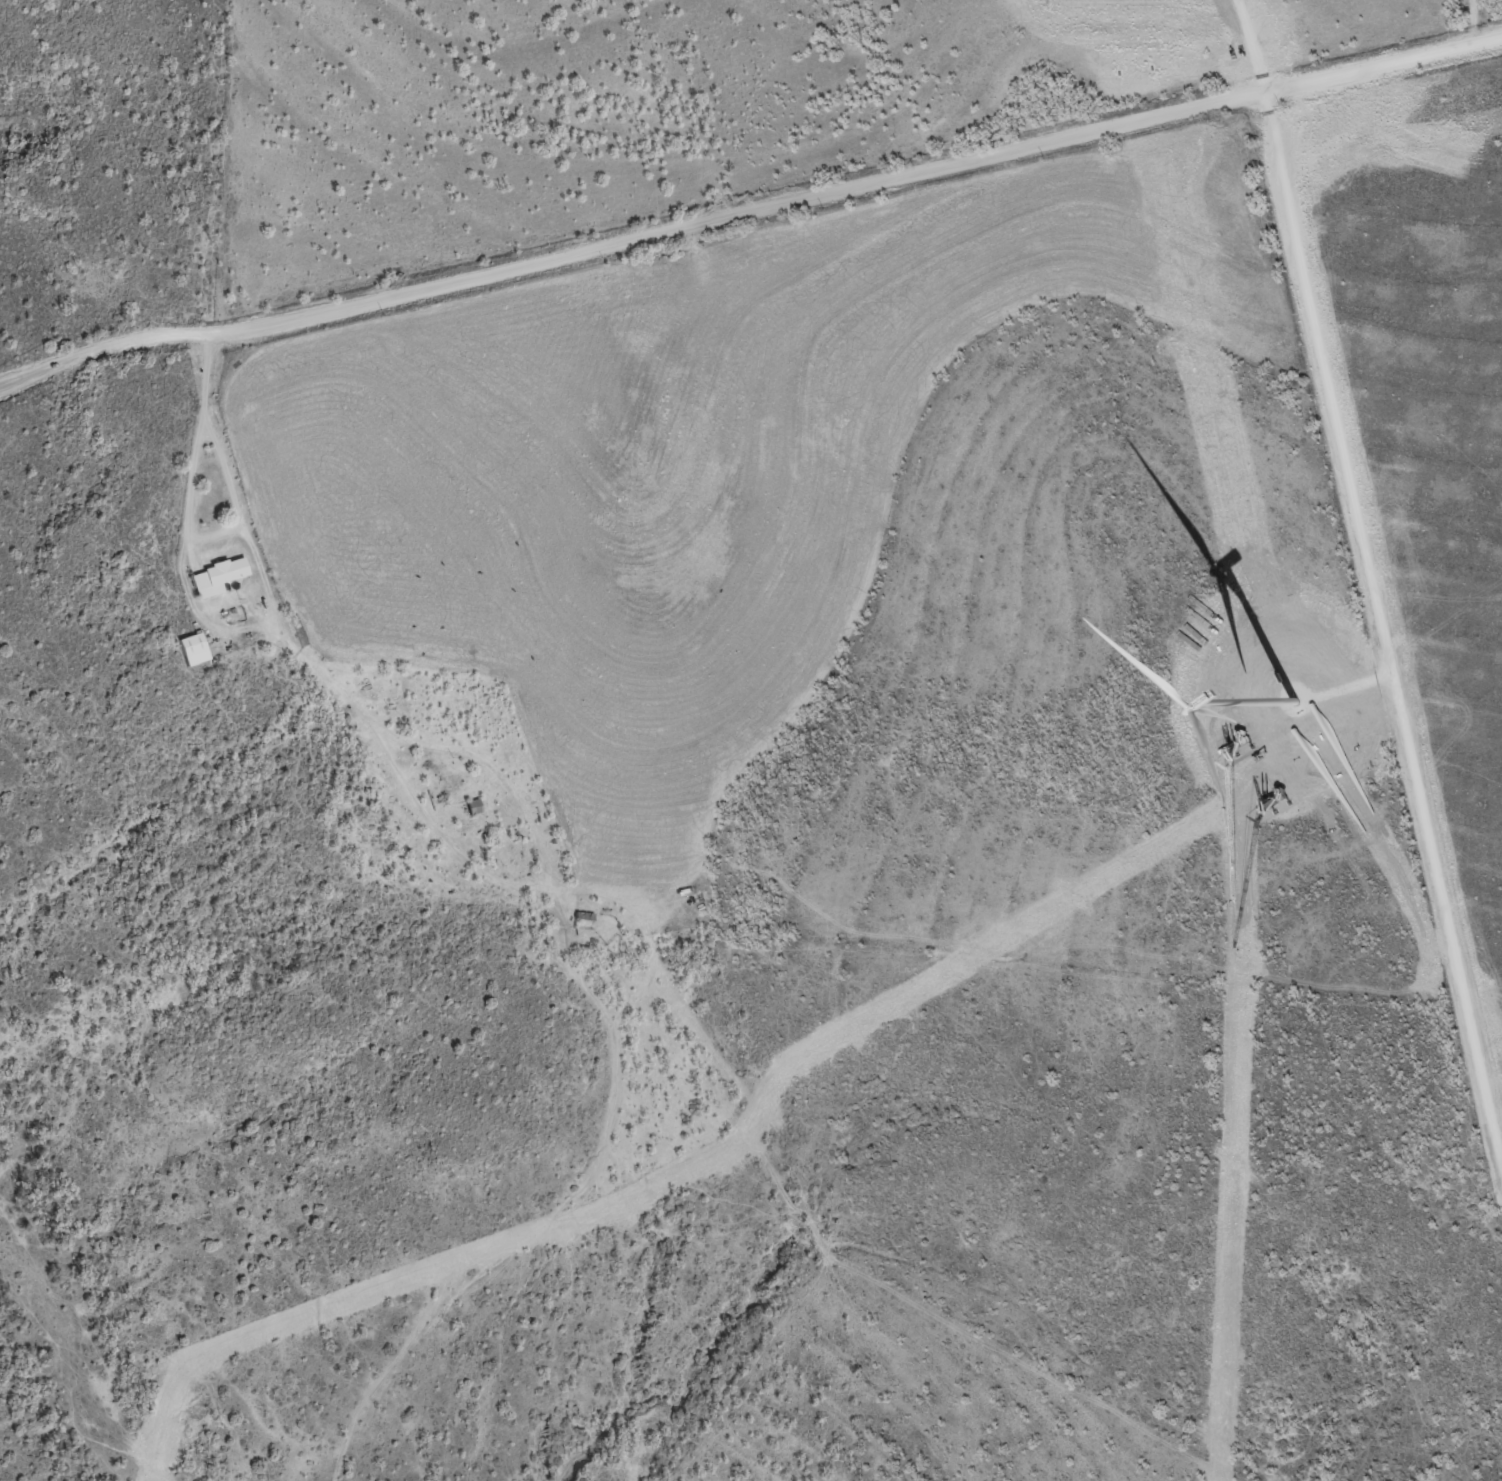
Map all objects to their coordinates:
road: (1473, 22)
road: (749, 206)
building: (218, 576)
road: (1372, 577)
building: (195, 648)
wind turbine: (1298, 702)
road: (551, 909)

